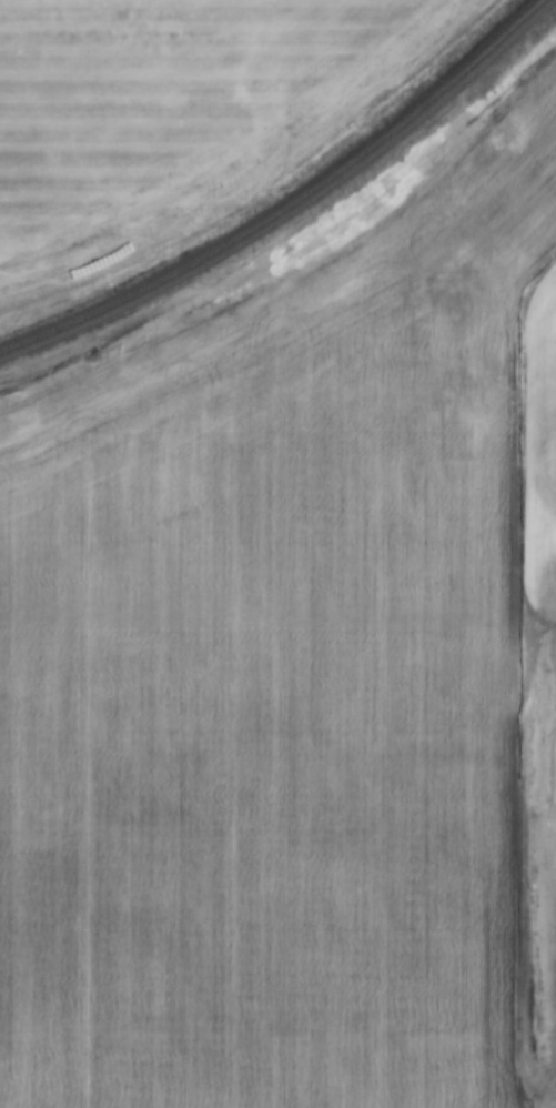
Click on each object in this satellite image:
railway: (287, 204)

